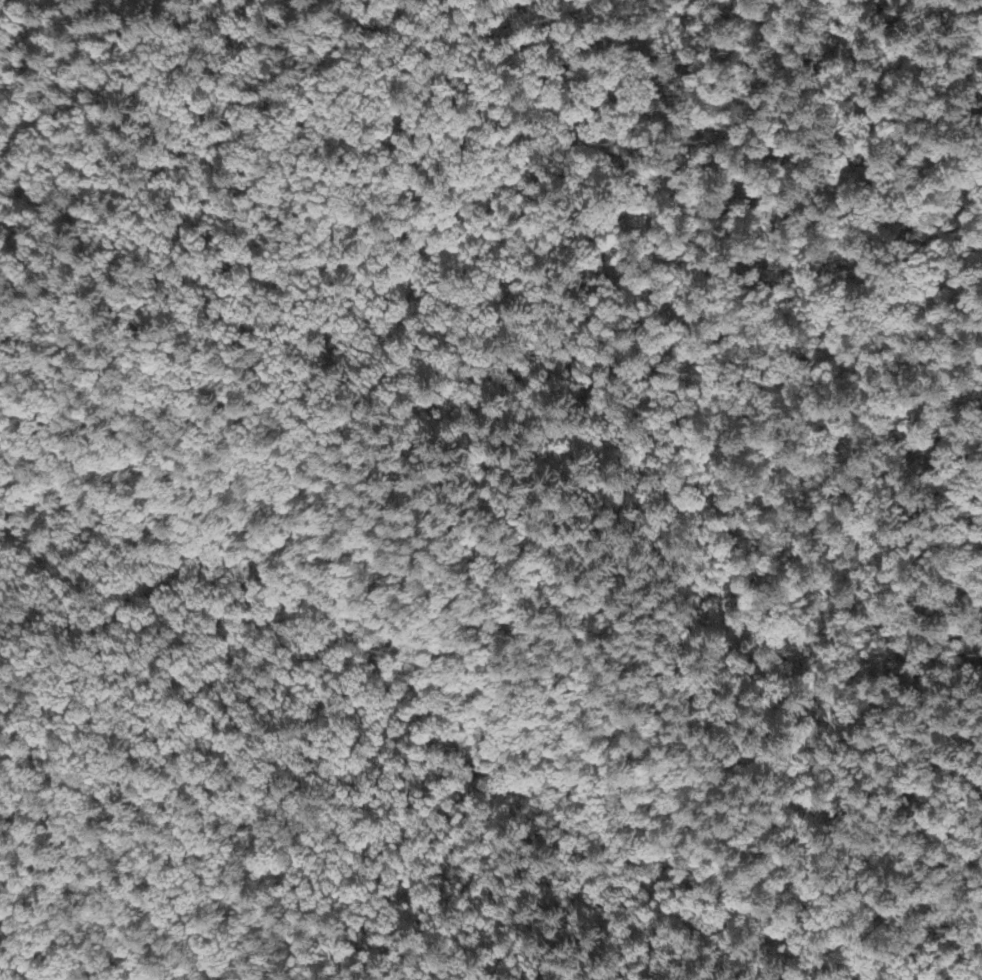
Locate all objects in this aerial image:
road: (847, 48)
road: (44, 683)

